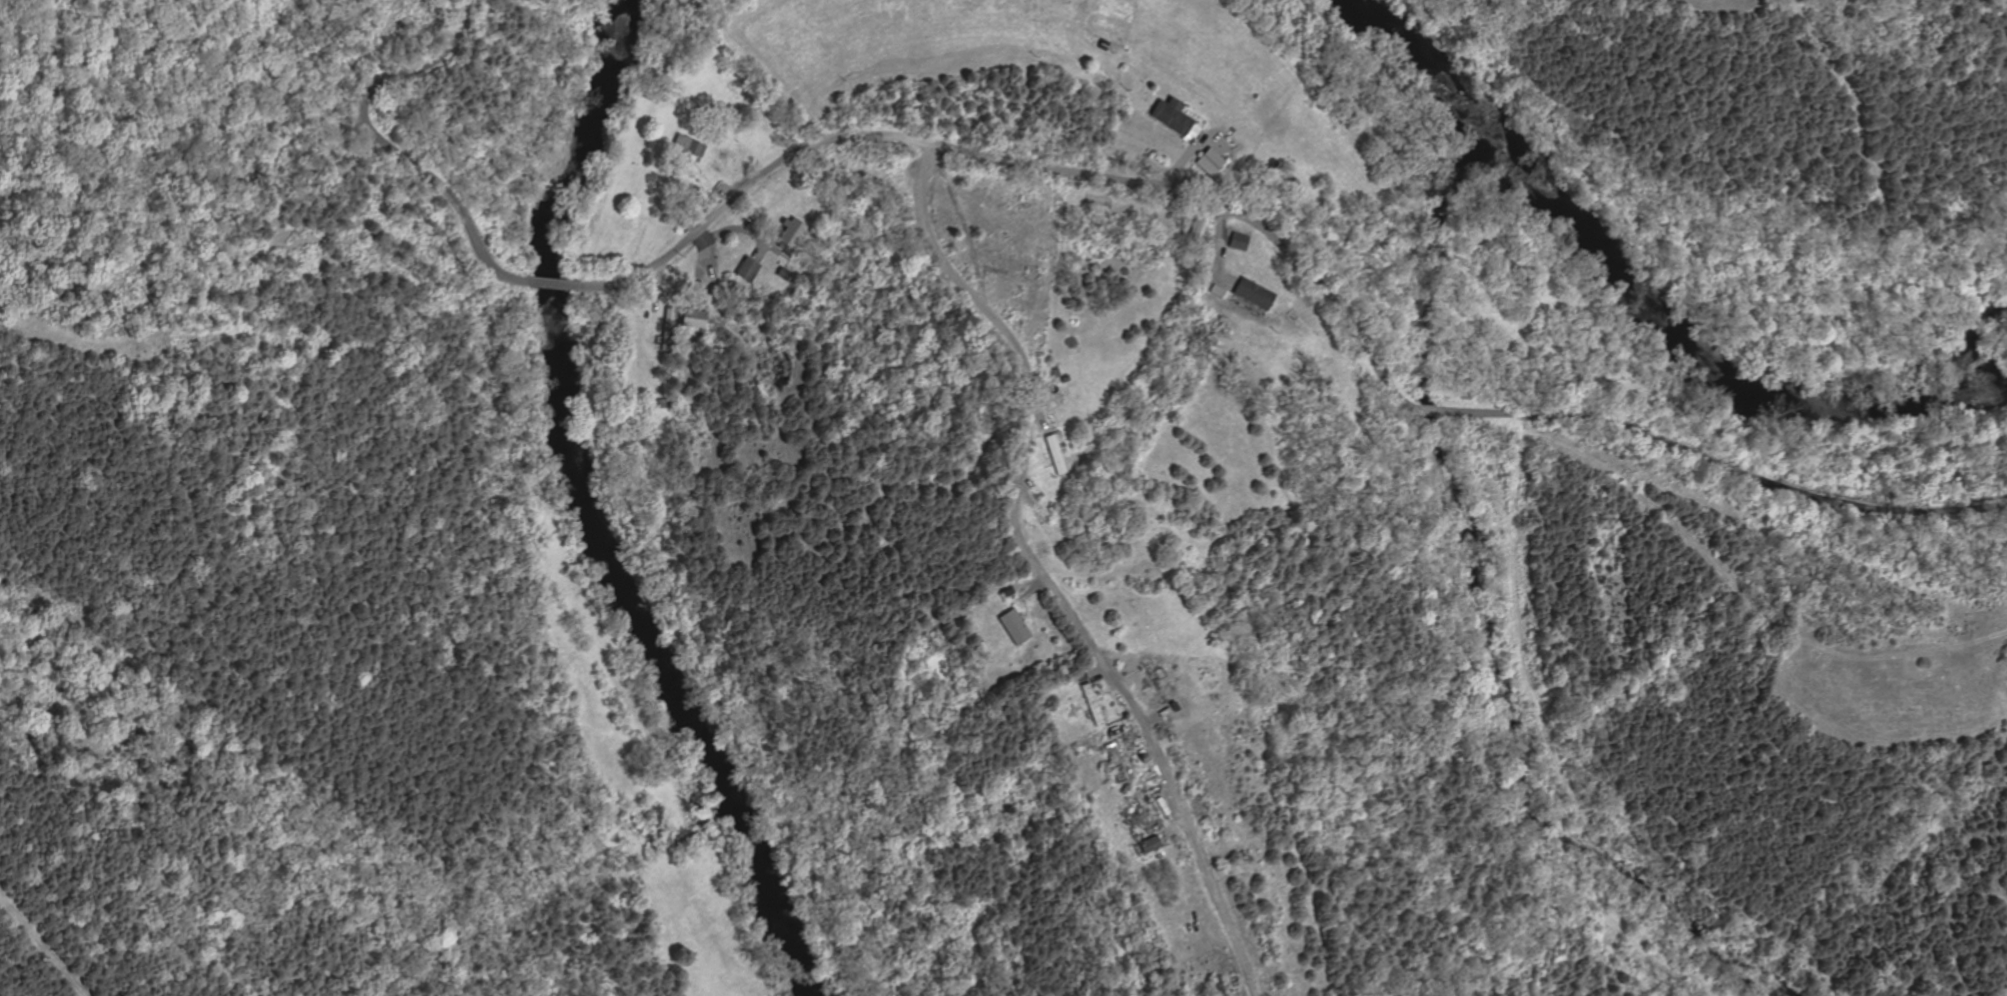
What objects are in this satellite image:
building: (1119, 102)
building: (1177, 118)
road: (385, 143)
building: (690, 146)
road: (1189, 150)
road: (1019, 162)
building: (1212, 162)
road: (700, 183)
building: (694, 191)
road: (725, 193)
road: (963, 226)
building: (1197, 226)
road: (741, 229)
building: (794, 231)
road: (1231, 238)
road: (760, 251)
road: (1218, 252)
road: (702, 267)
building: (749, 268)
road: (989, 271)
building: (785, 272)
road: (1242, 272)
road: (658, 284)
road: (554, 285)
building: (1253, 293)
building: (697, 318)
building: (669, 328)
building: (1054, 372)
building: (1065, 377)
road: (1061, 398)
building: (662, 402)
road: (1053, 405)
road: (1424, 409)
road: (1037, 415)
road: (1052, 417)
road: (1042, 438)
building: (1077, 441)
building: (1055, 453)
road: (1721, 464)
road: (1036, 468)
road: (1022, 481)
road: (1023, 492)
road: (1040, 572)
road: (1032, 588)
building: (1008, 590)
road: (1025, 607)
building: (1016, 626)
building: (1153, 675)
building: (1093, 702)
building: (1174, 704)
building: (1117, 762)
building: (1152, 844)
road: (43, 944)
building: (1219, 985)

